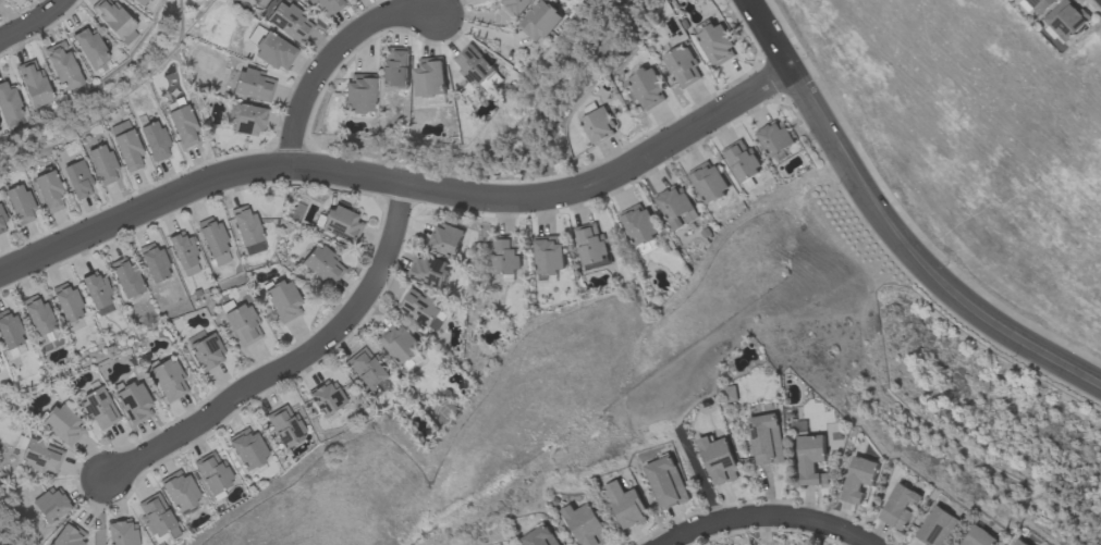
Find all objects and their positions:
building: (0, 0)
building: (348, 0)
building: (140, 1)
building: (515, 5)
building: (1038, 5)
building: (326, 7)
building: (1066, 20)
building: (114, 21)
building: (286, 21)
building: (541, 21)
road: (34, 23)
building: (717, 44)
building: (90, 48)
building: (270, 49)
road: (331, 60)
building: (62, 65)
building: (473, 65)
building: (682, 66)
building: (395, 67)
building: (429, 77)
building: (229, 79)
building: (33, 83)
building: (252, 85)
building: (647, 88)
building: (358, 94)
building: (9, 107)
building: (230, 114)
building: (248, 121)
building: (598, 125)
building: (182, 126)
building: (775, 138)
building: (154, 140)
building: (125, 146)
building: (742, 161)
building: (101, 164)
building: (77, 179)
building: (708, 182)
road: (402, 183)
building: (49, 191)
building: (19, 203)
building: (676, 207)
building: (2, 224)
building: (338, 224)
building: (639, 224)
road: (890, 225)
building: (247, 231)
building: (211, 236)
building: (446, 240)
building: (591, 246)
building: (184, 253)
building: (549, 255)
building: (505, 256)
building: (154, 262)
building: (322, 265)
building: (430, 271)
building: (125, 277)
building: (96, 289)
building: (282, 300)
building: (66, 302)
building: (423, 308)
building: (40, 320)
building: (243, 325)
building: (9, 330)
building: (400, 343)
building: (205, 350)
building: (15, 351)
road: (294, 363)
building: (367, 369)
building: (168, 380)
building: (326, 398)
building: (133, 402)
building: (98, 409)
building: (62, 424)
building: (285, 426)
building: (766, 439)
building: (247, 449)
building: (40, 457)
building: (811, 459)
building: (719, 460)
building: (212, 473)
building: (859, 479)
building: (666, 482)
building: (180, 492)
building: (50, 505)
building: (626, 505)
building: (901, 506)
road: (770, 511)
building: (155, 516)
building: (587, 524)
building: (939, 528)
building: (121, 533)
building: (70, 536)
building: (541, 536)
building: (980, 536)
building: (1022, 542)

